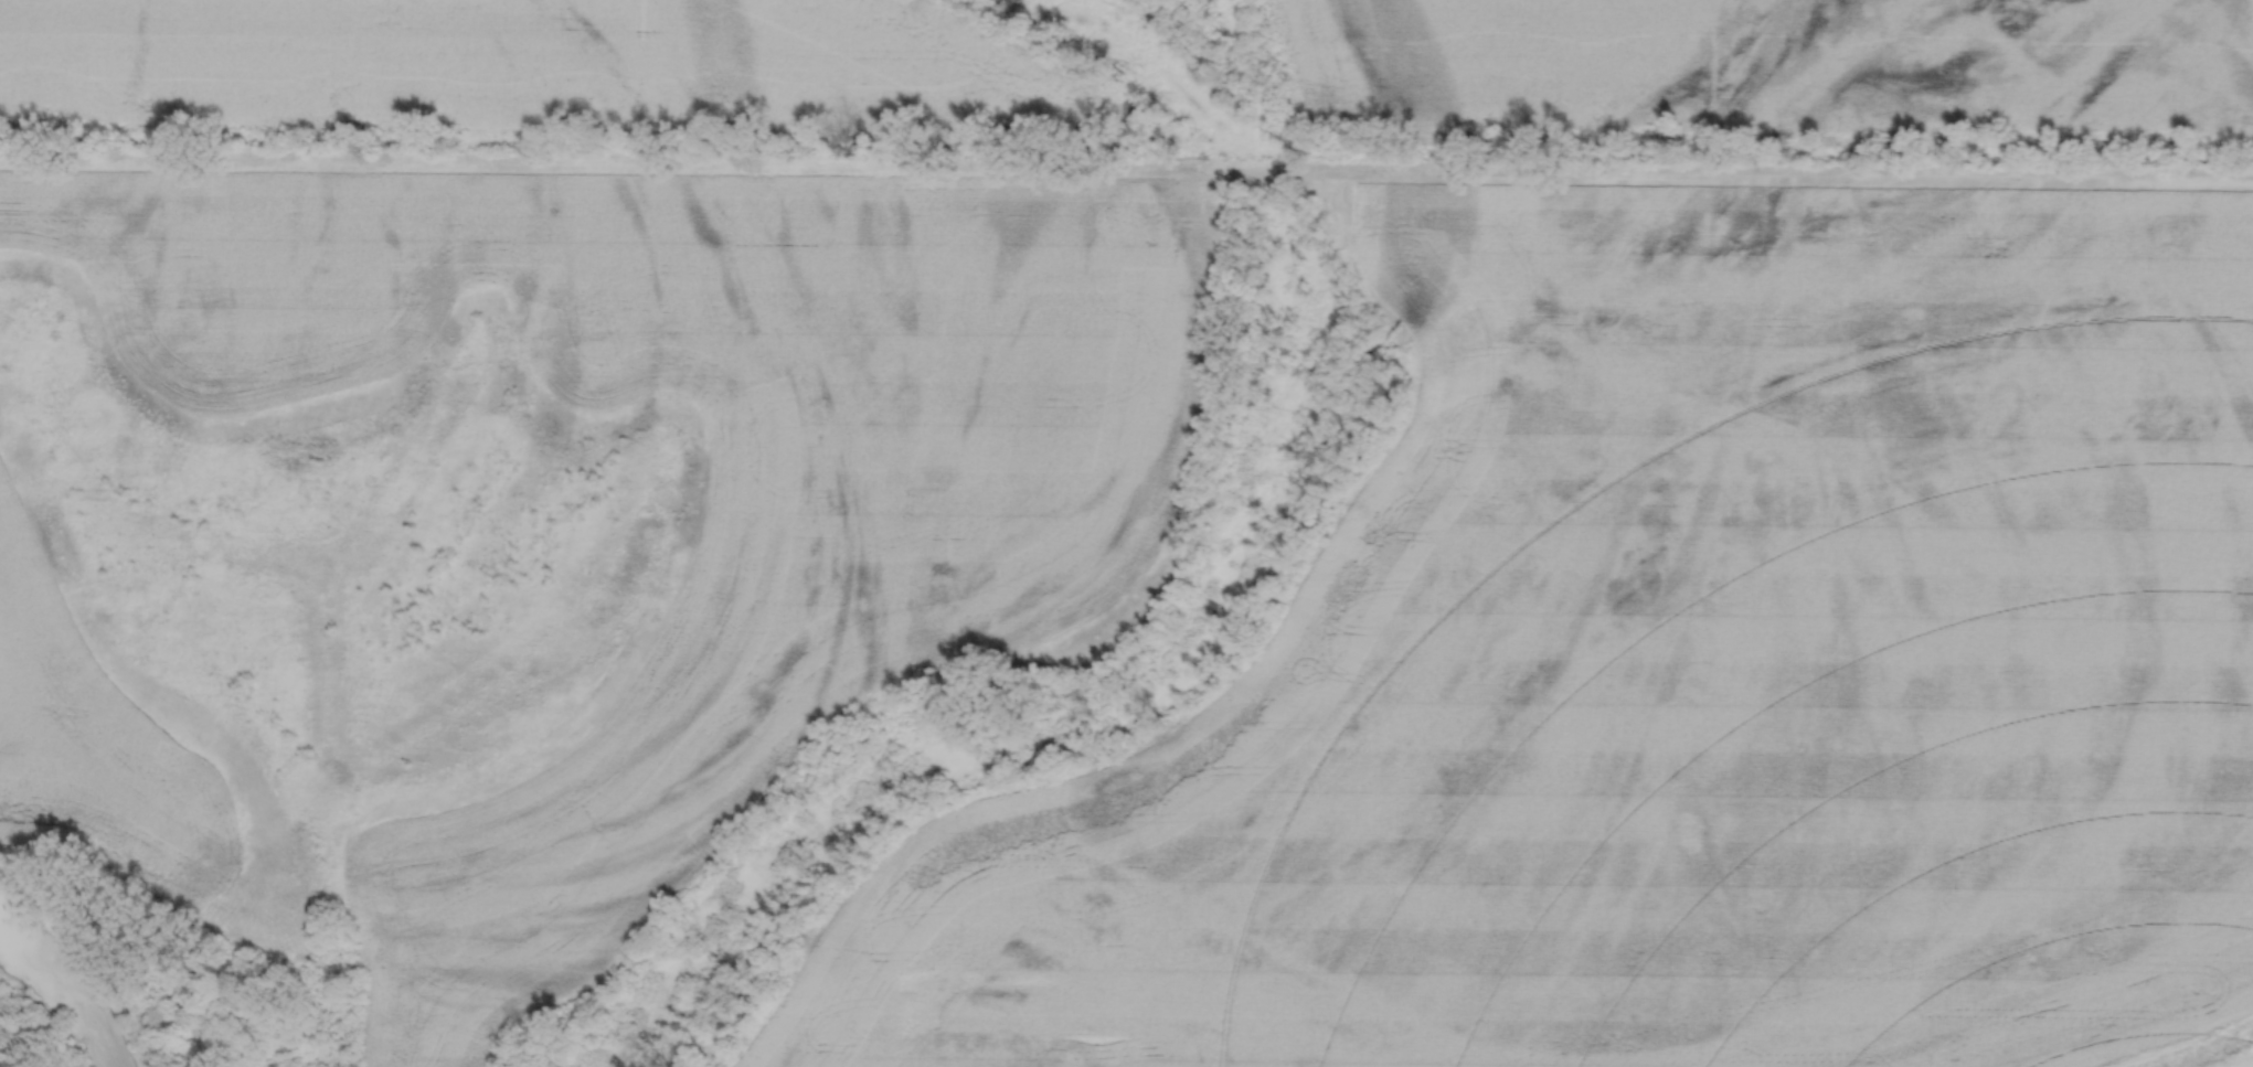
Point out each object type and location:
crop: (2244, 1063)

